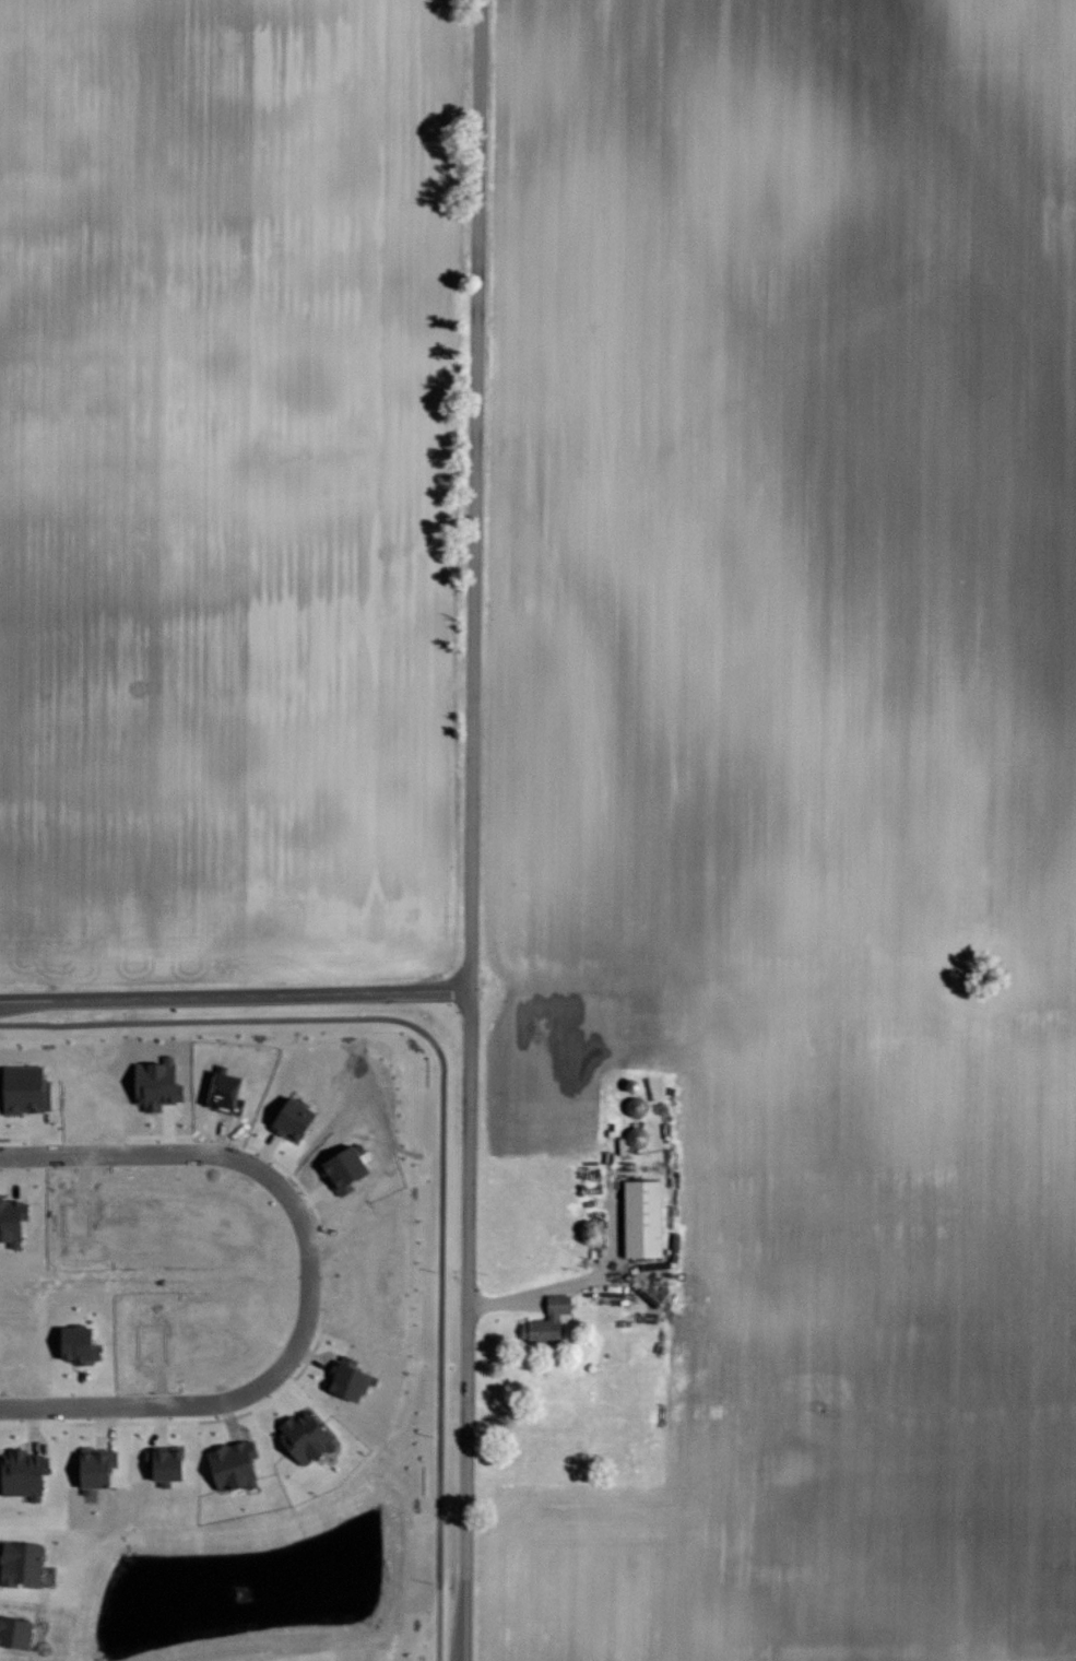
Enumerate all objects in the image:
road: (471, 829)
road: (235, 993)
building: (624, 1141)
road: (279, 1186)
building: (638, 1217)
road: (581, 1283)
building: (543, 1320)
building: (72, 1344)
road: (98, 1405)
building: (227, 1464)
building: (90, 1468)
building: (20, 1473)
building: (17, 1560)
building: (11, 1630)

